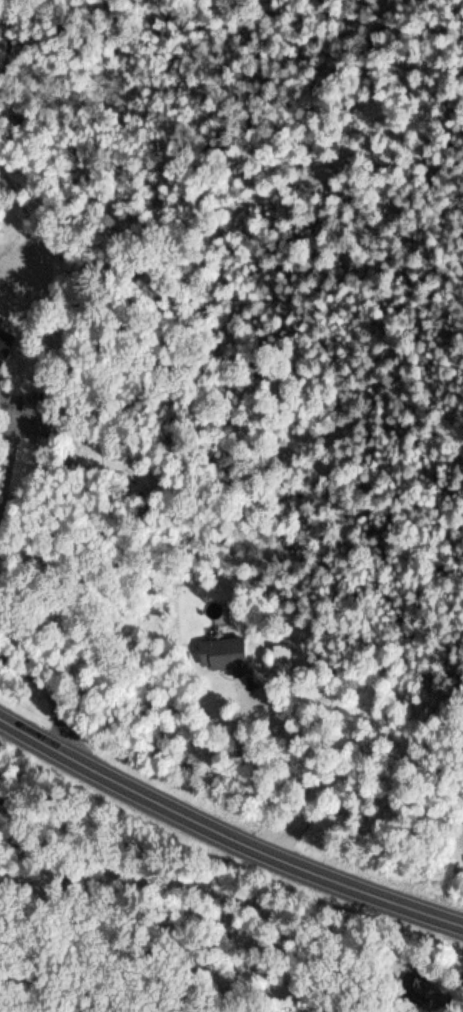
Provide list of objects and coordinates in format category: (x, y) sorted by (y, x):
building: (4, 342)
building: (36, 406)
building: (224, 655)
building: (281, 656)
road: (224, 839)

